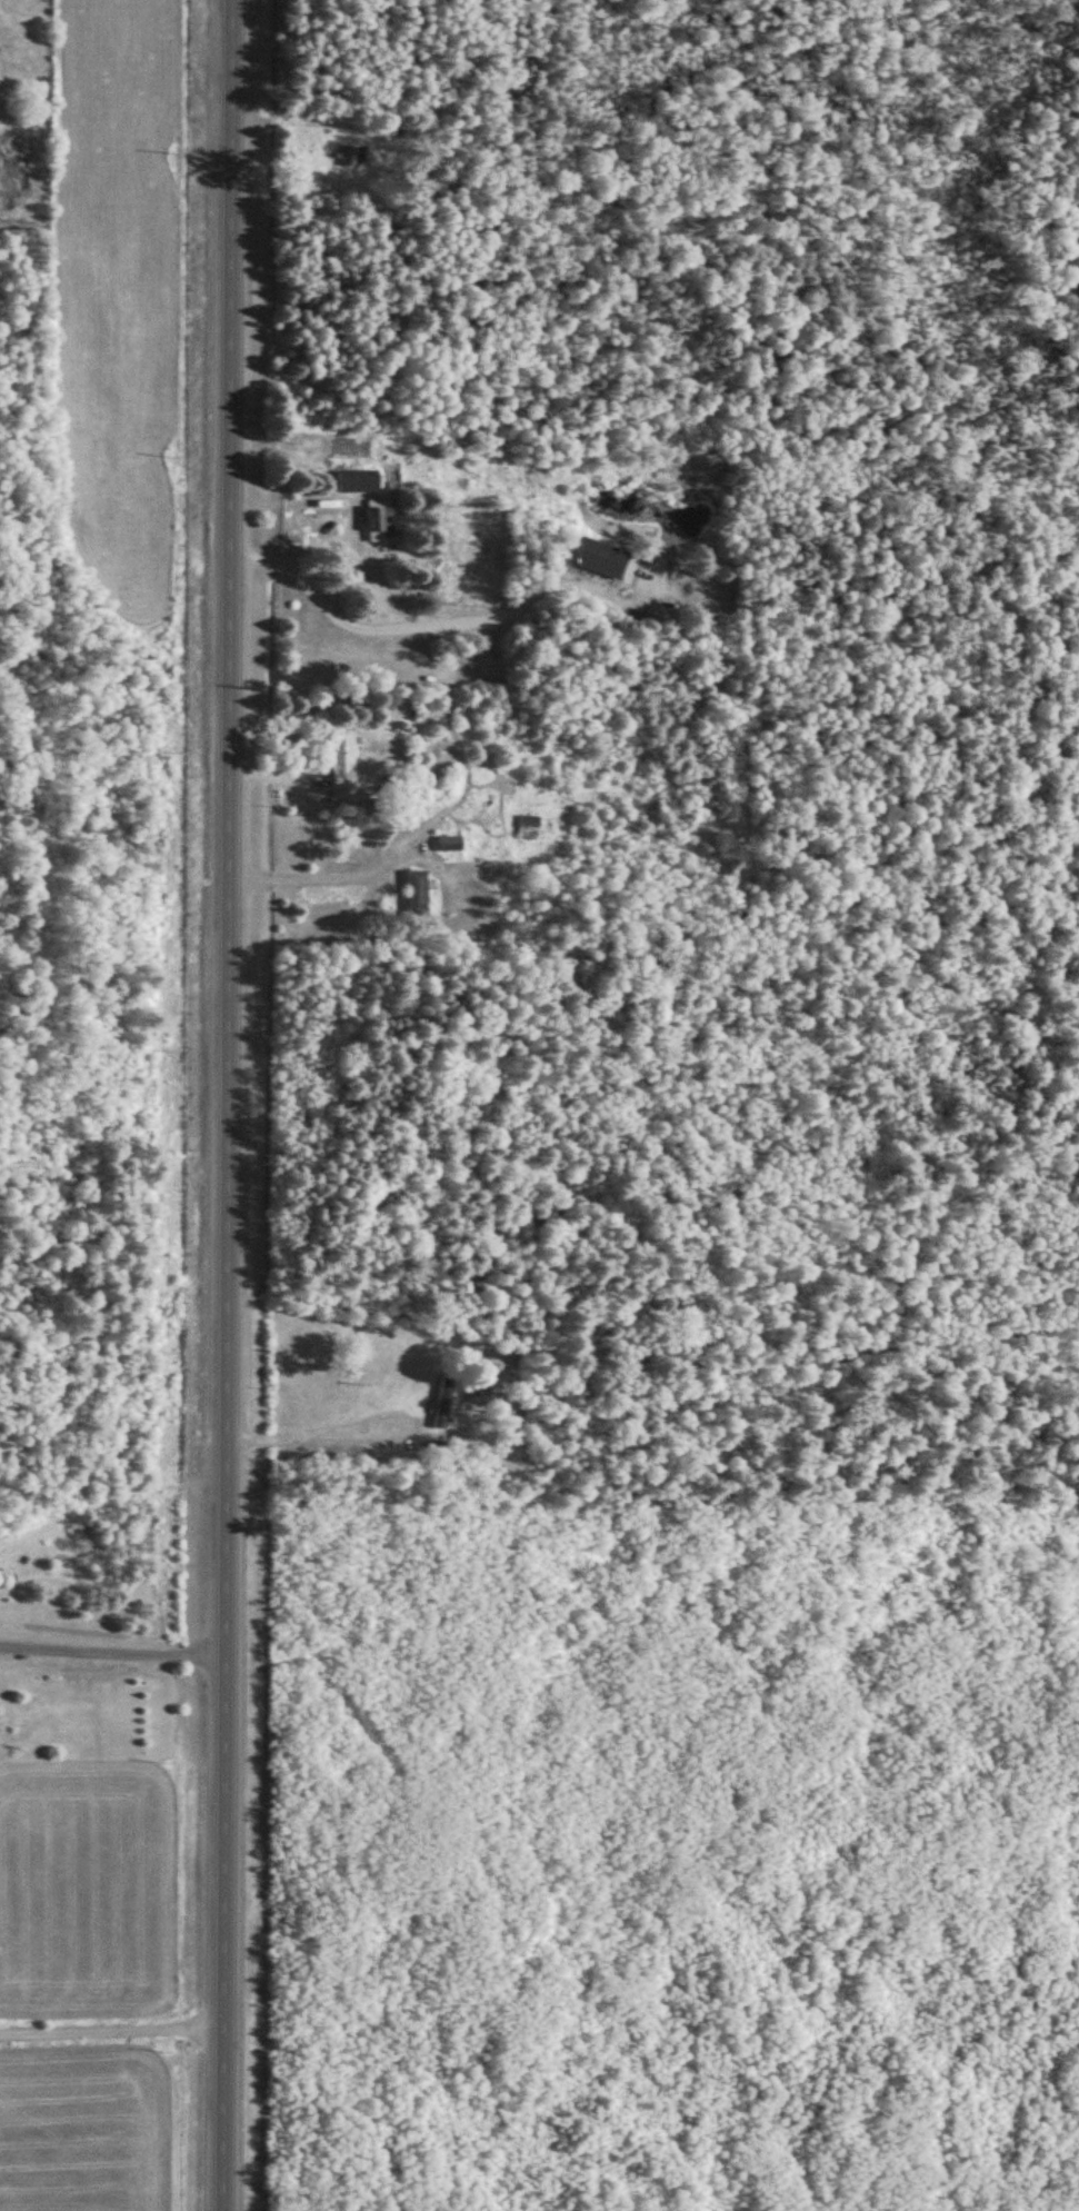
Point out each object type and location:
building: (353, 156)
building: (359, 480)
building: (379, 515)
building: (599, 557)
building: (344, 760)
building: (531, 827)
building: (451, 844)
building: (418, 893)
road: (230, 1105)
building: (446, 1403)
road: (114, 1575)
road: (112, 2034)

